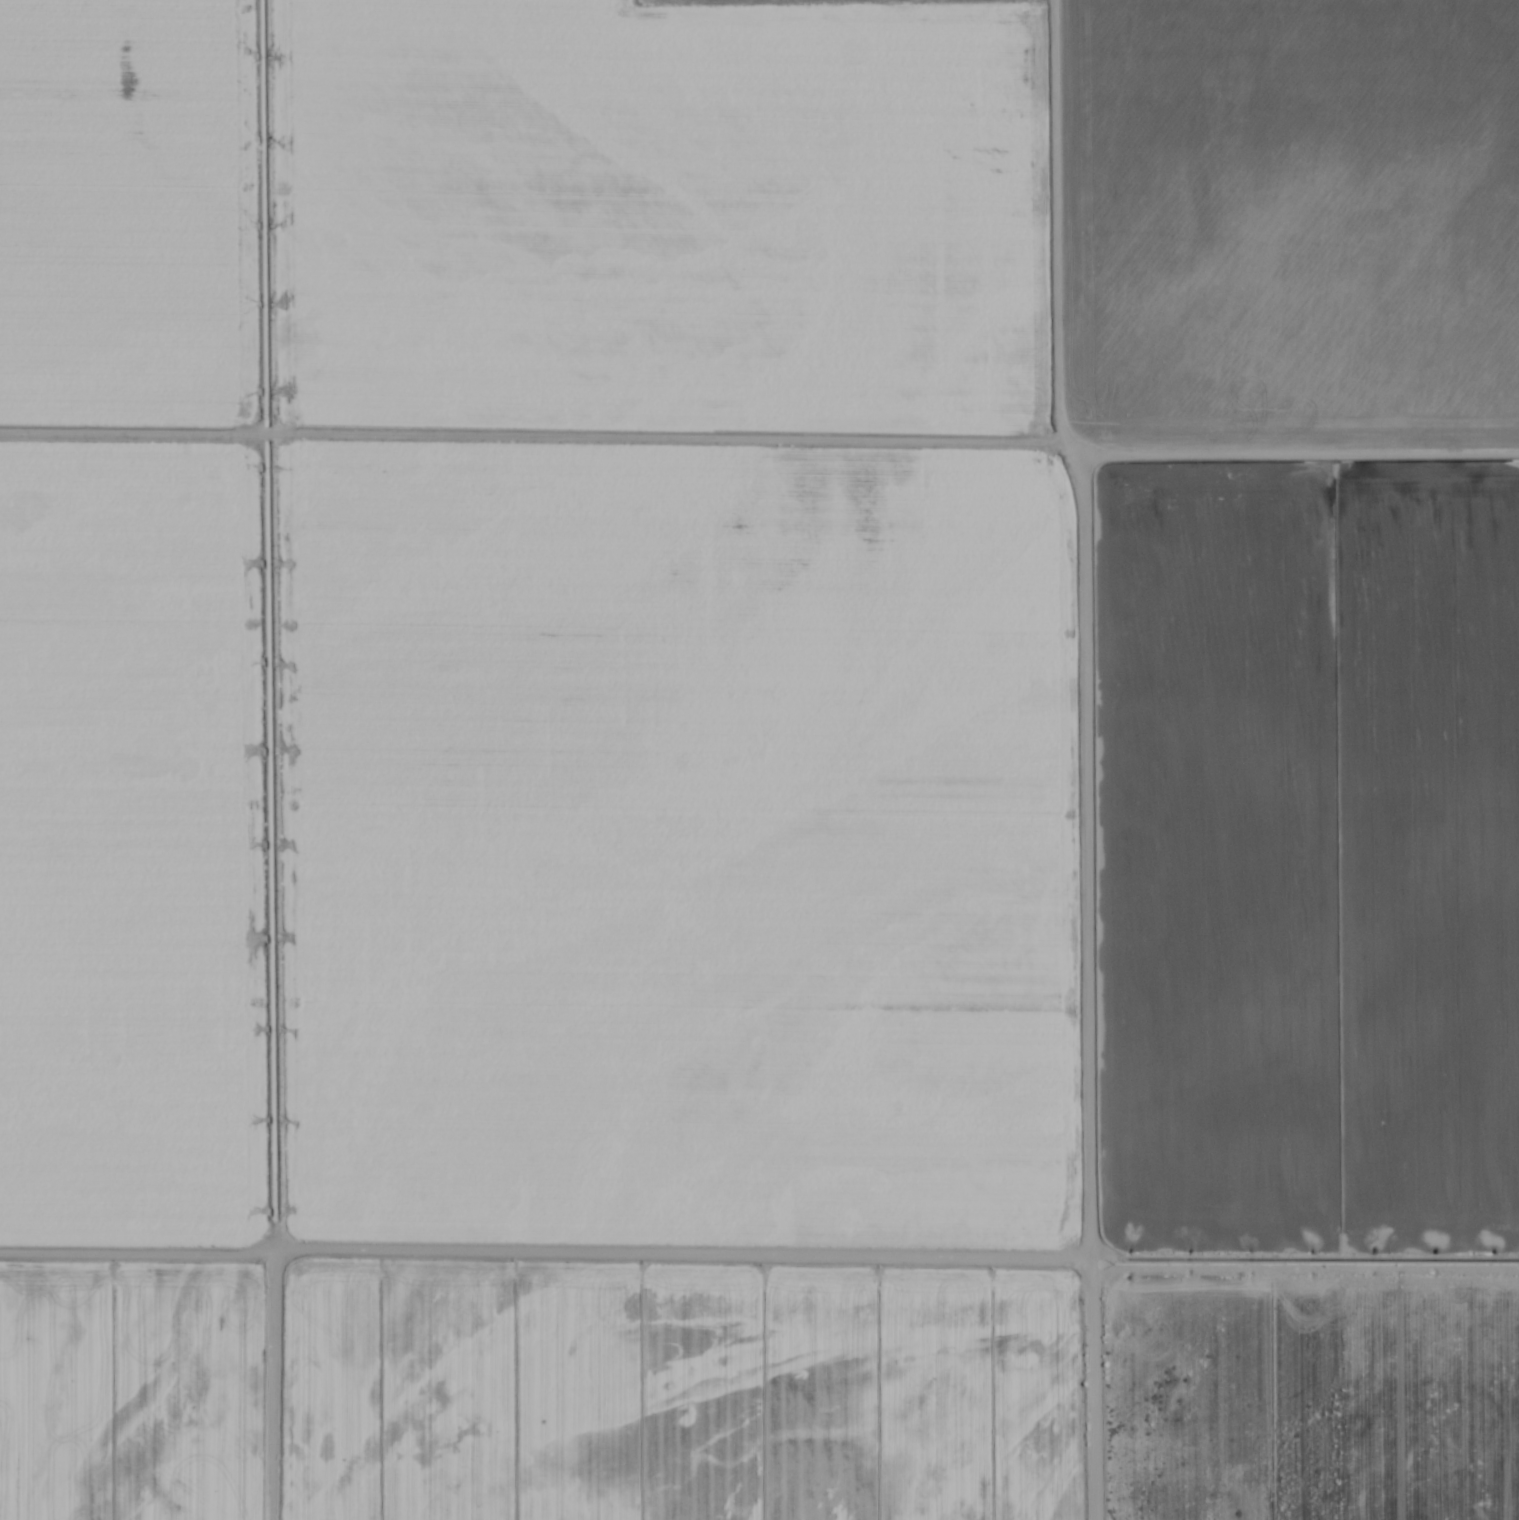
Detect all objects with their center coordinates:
crop: (759, 760)

